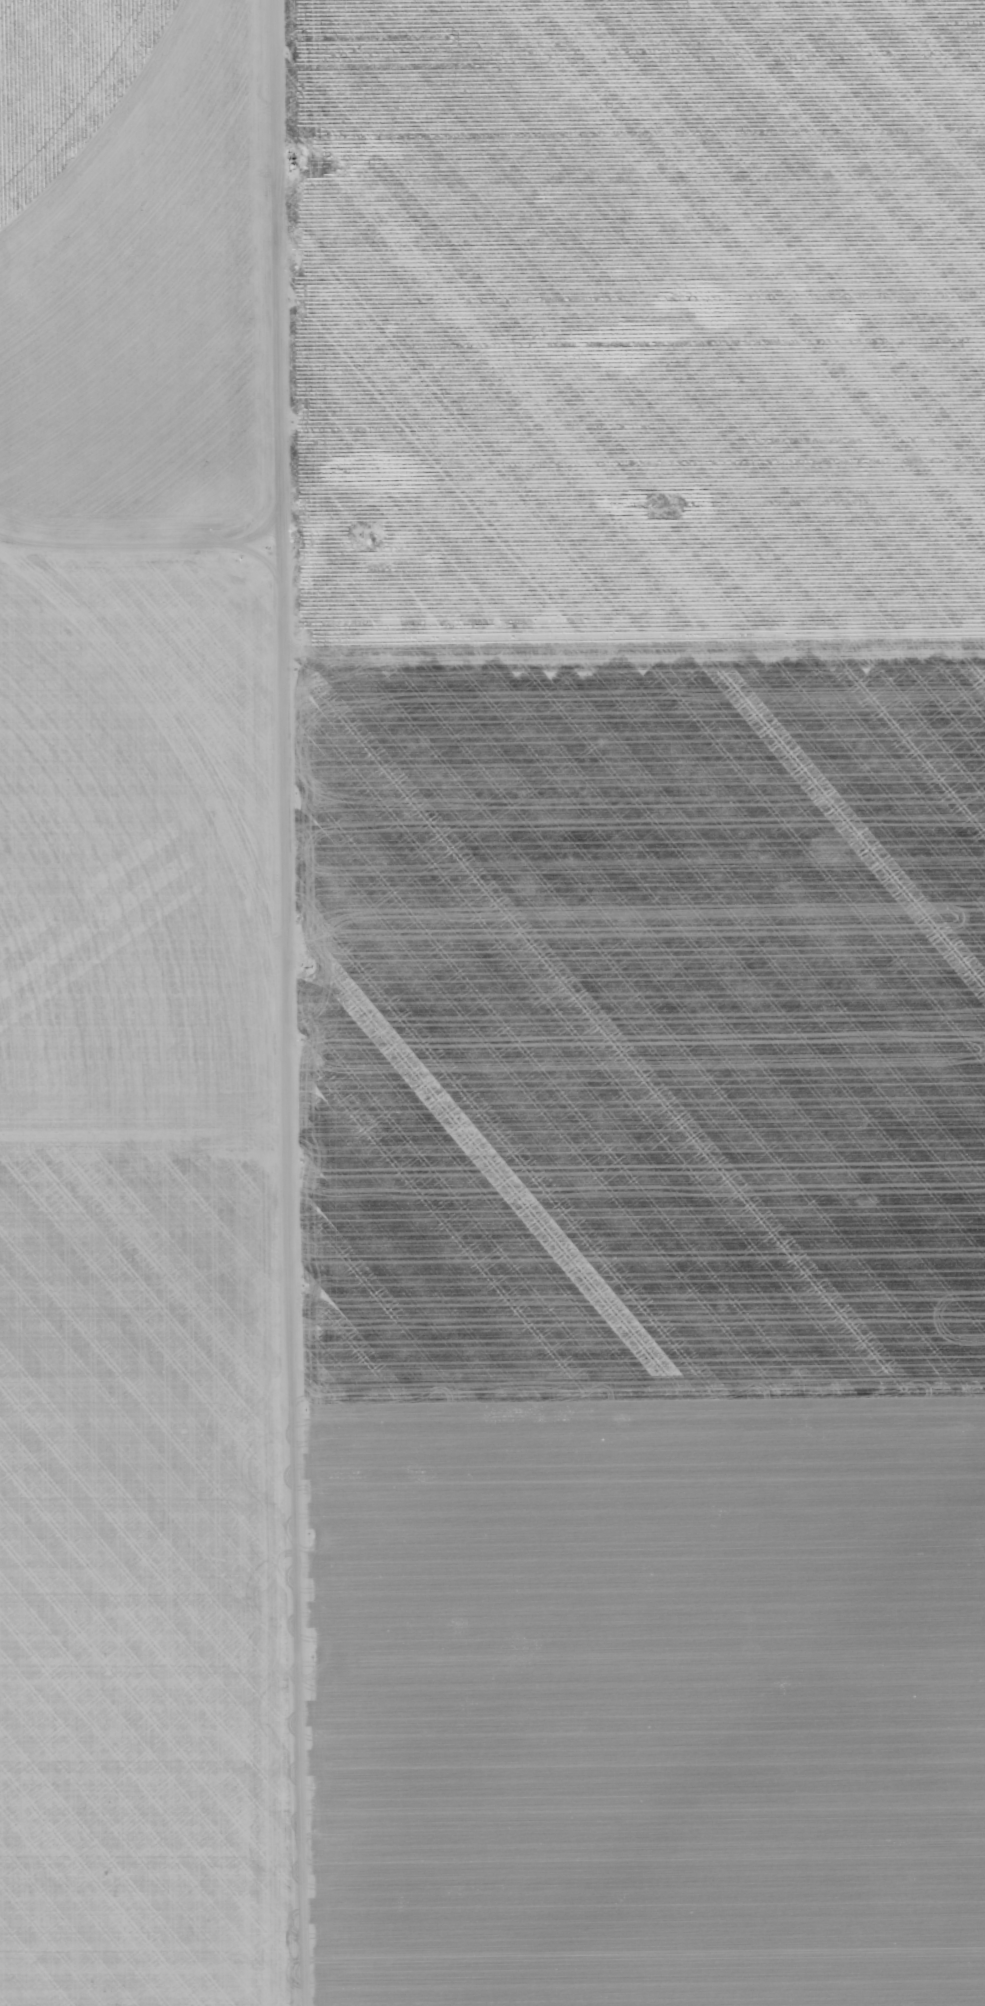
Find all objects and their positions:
road: (295, 1003)

